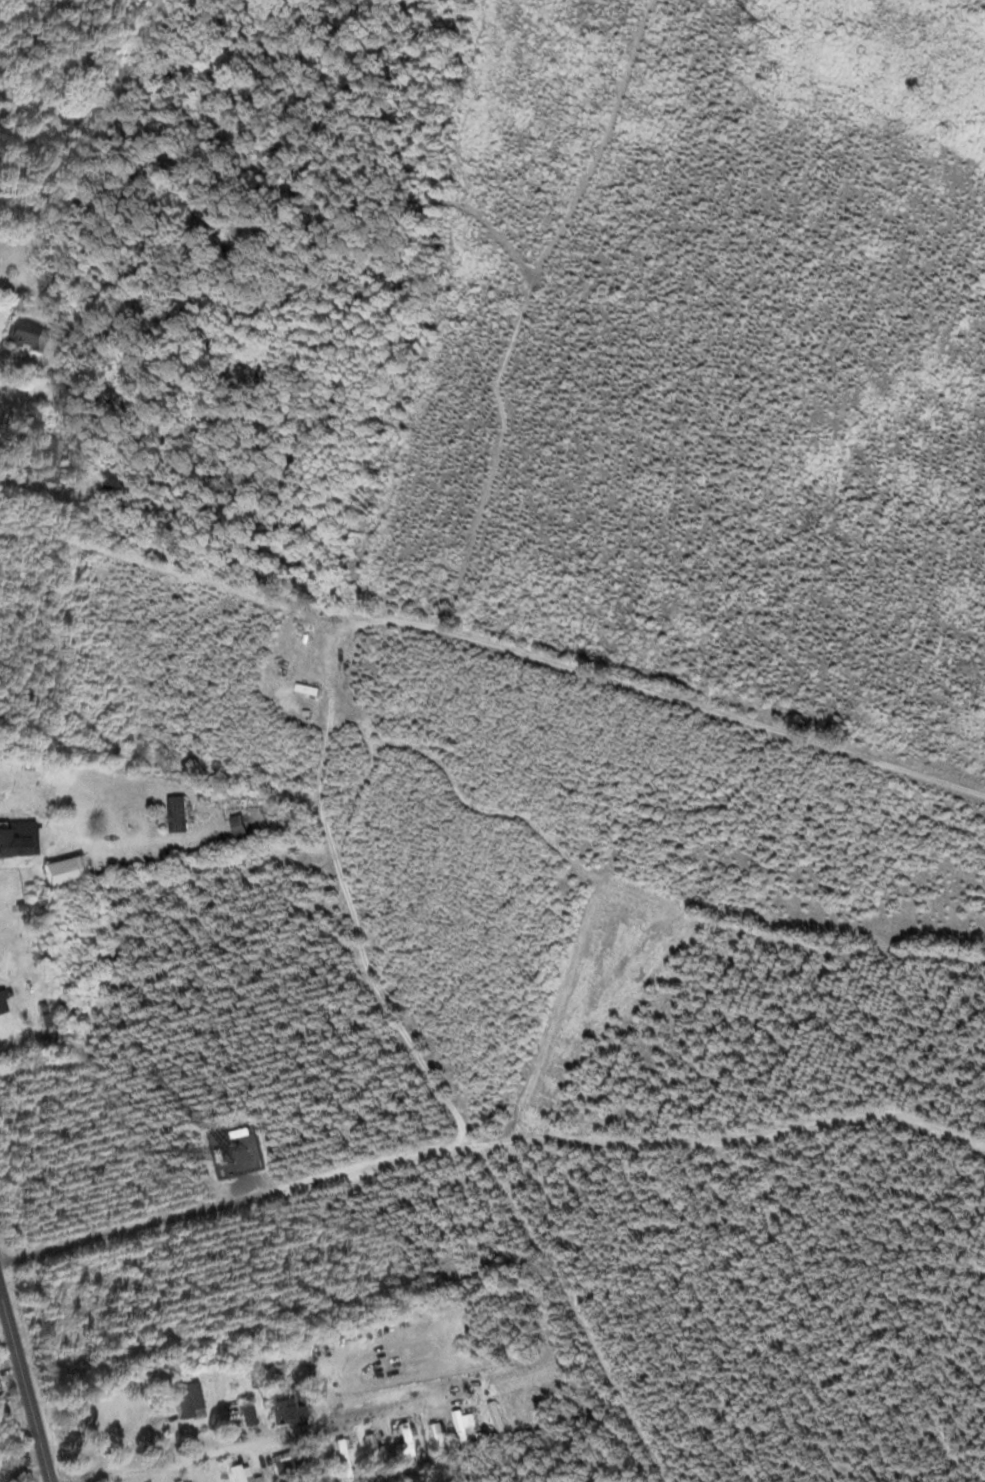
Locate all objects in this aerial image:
building: (26, 334)
building: (36, 458)
building: (120, 479)
building: (308, 687)
building: (177, 818)
building: (4, 841)
building: (3, 1000)
road: (1, 1284)
road: (26, 1376)
building: (187, 1397)
building: (289, 1404)
building: (250, 1412)
building: (467, 1421)
building: (437, 1433)
road: (258, 1437)
building: (407, 1439)
building: (372, 1440)
building: (344, 1456)
building: (284, 1464)
building: (242, 1472)
building: (181, 1480)

